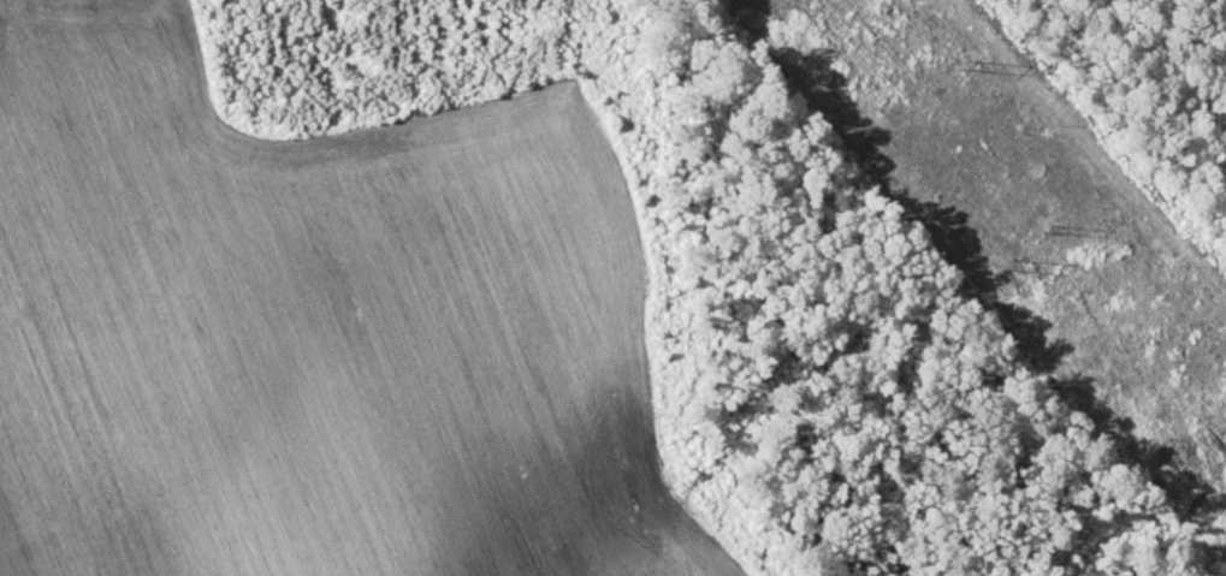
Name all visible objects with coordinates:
power tower: (966, 61)
power tower: (1048, 225)
power tower: (1002, 272)

